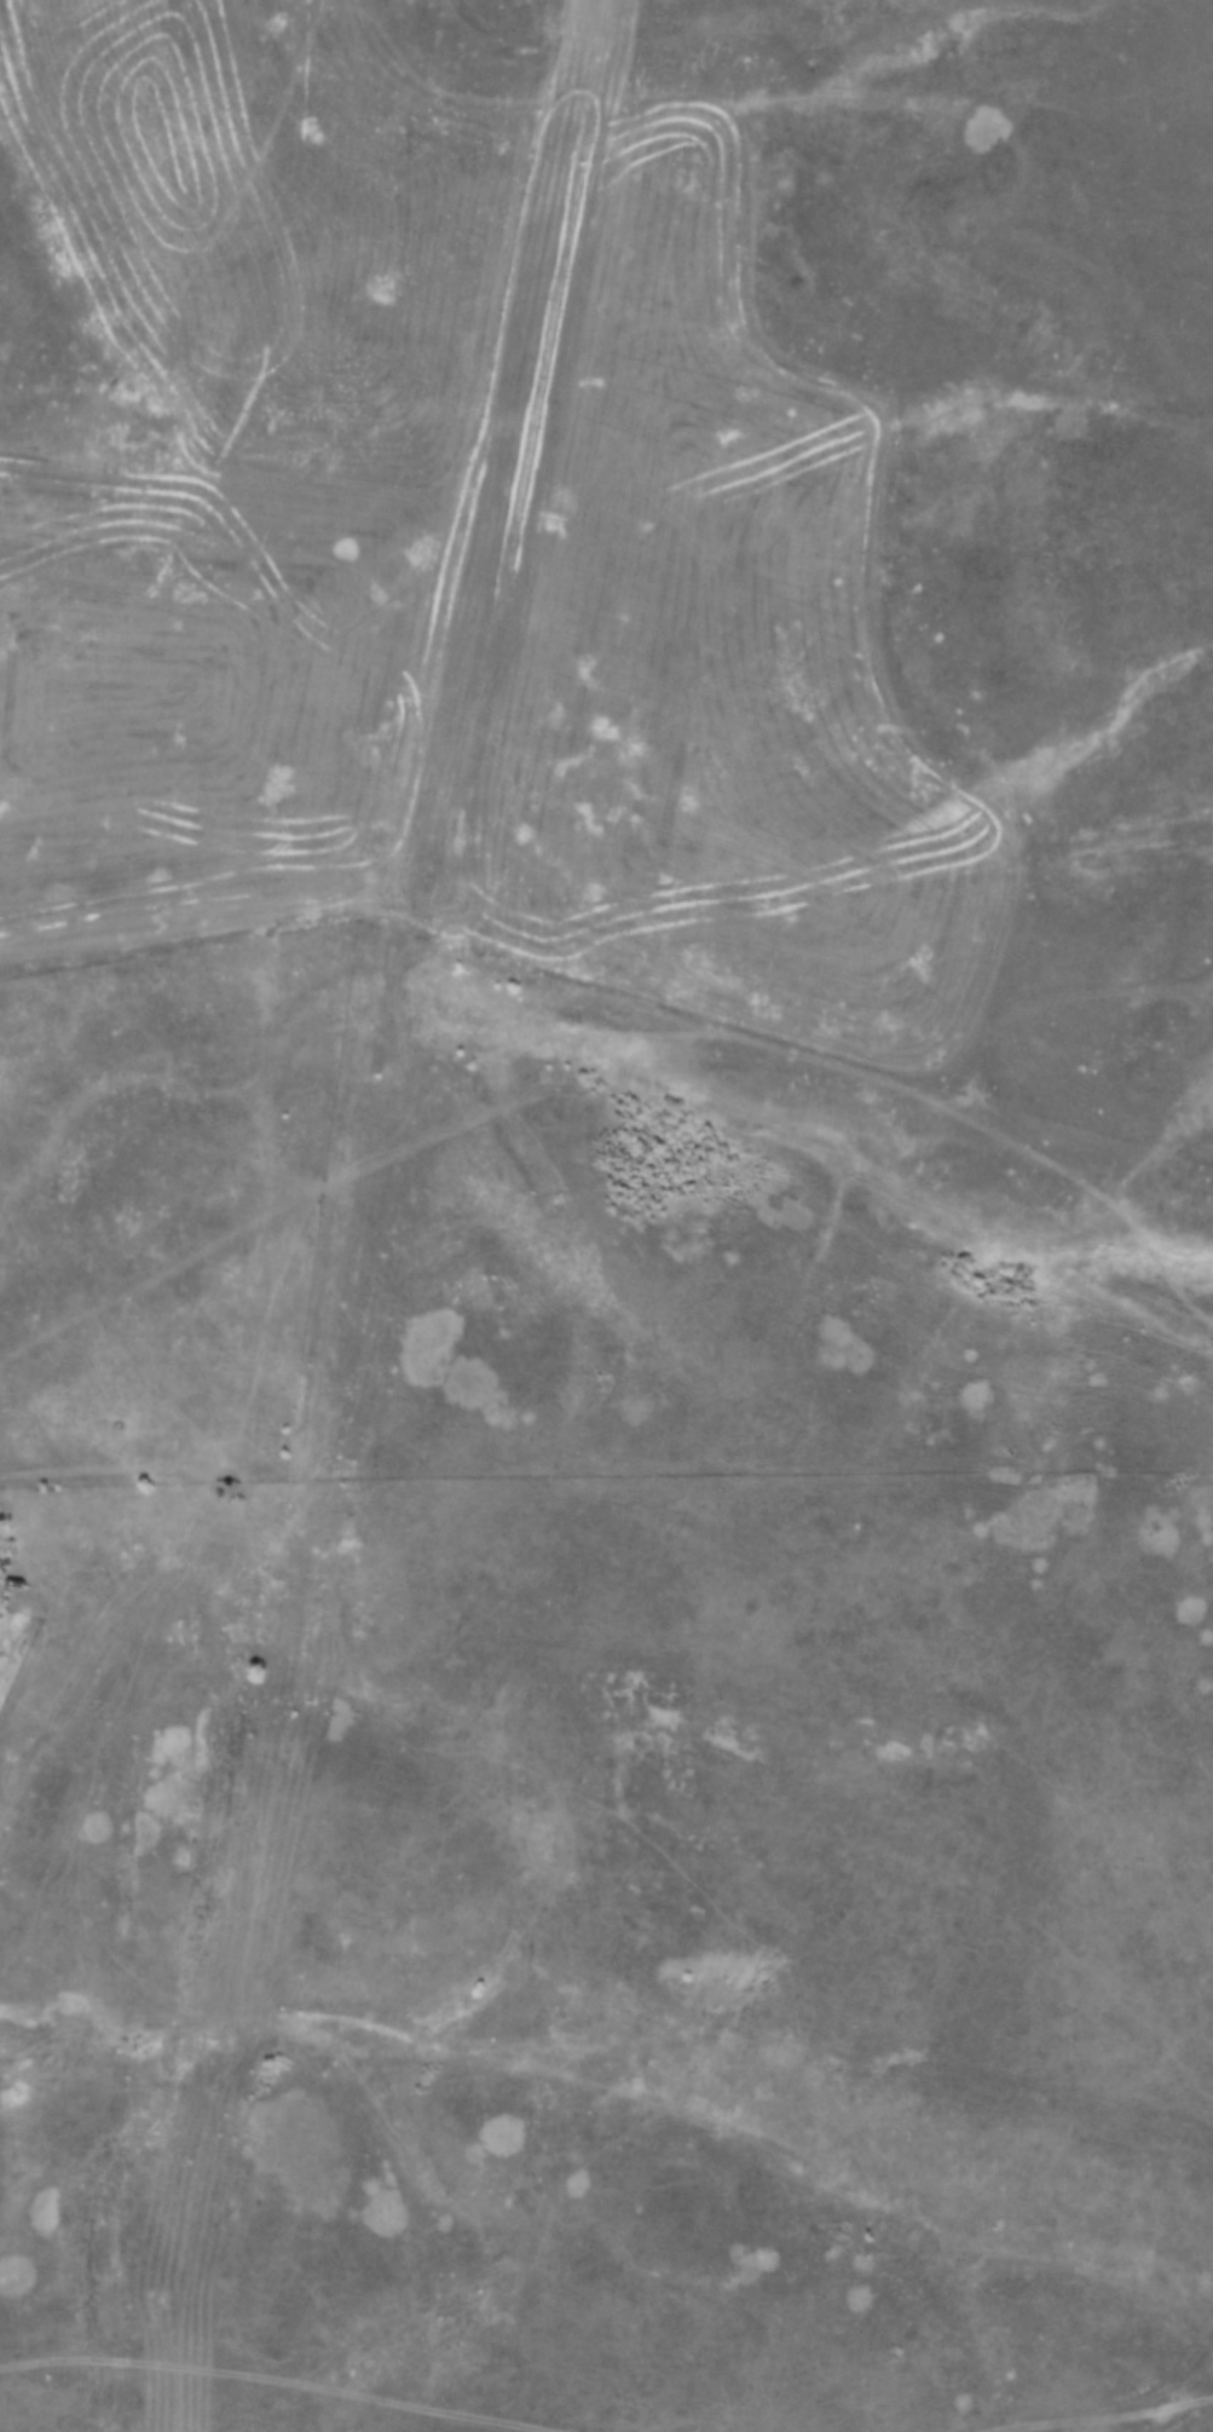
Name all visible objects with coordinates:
road: (243, 416)

